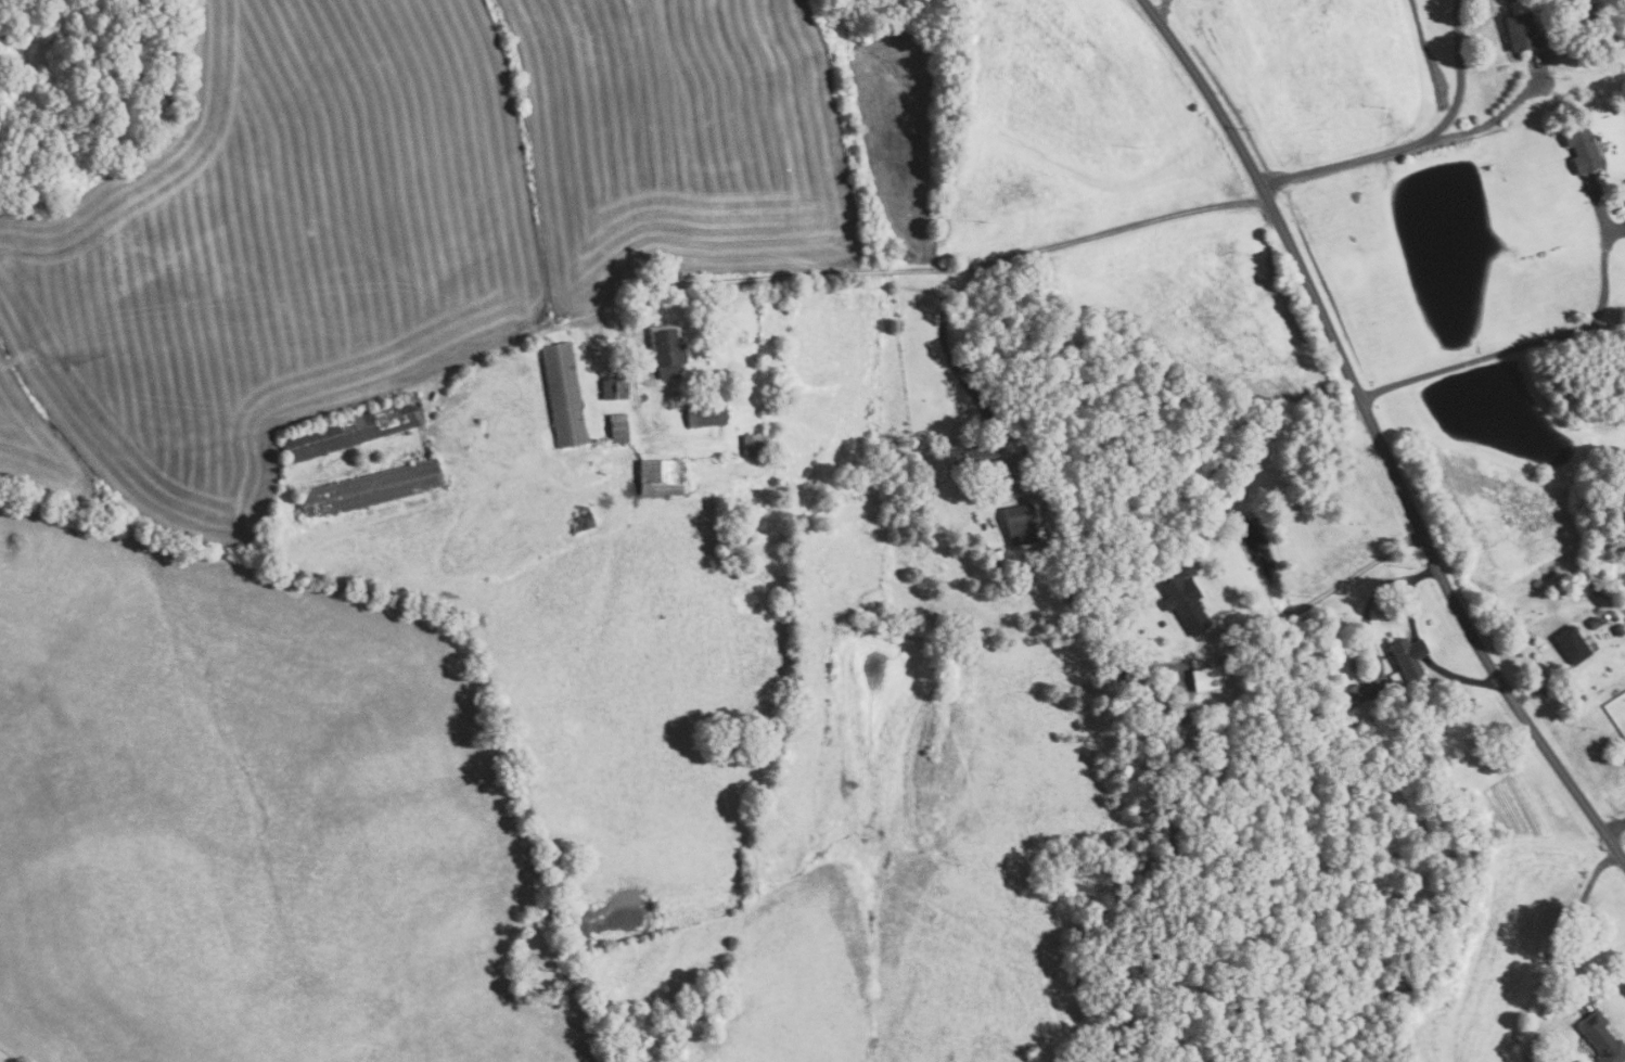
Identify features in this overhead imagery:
road: (1161, 10)
building: (1586, 18)
building: (1521, 33)
crop: (1318, 74)
road: (1461, 81)
road: (1492, 120)
crop: (1034, 130)
building: (1581, 145)
road: (1336, 165)
building: (1623, 185)
building: (1623, 192)
road: (1599, 208)
crop: (393, 219)
road: (1614, 234)
road: (908, 271)
road: (1602, 295)
crop: (1193, 308)
road: (1595, 332)
building: (666, 349)
road: (1461, 363)
road: (955, 367)
building: (614, 387)
building: (563, 395)
building: (705, 415)
building: (353, 426)
building: (618, 428)
road: (1376, 435)
building: (753, 445)
building: (975, 458)
building: (661, 478)
building: (1000, 487)
building: (370, 490)
building: (584, 521)
building: (1020, 524)
building: (1536, 583)
road: (1330, 590)
building: (1183, 601)
building: (1431, 620)
building: (1594, 622)
building: (1161, 623)
building: (1618, 629)
road: (1369, 639)
building: (1572, 644)
road: (1423, 653)
building: (1408, 655)
building: (1206, 678)
road: (1540, 686)
building: (1353, 694)
road: (1614, 828)
crop: (1508, 918)
road: (1565, 943)
building: (1519, 1035)
building: (1602, 1038)
building: (1534, 1052)

